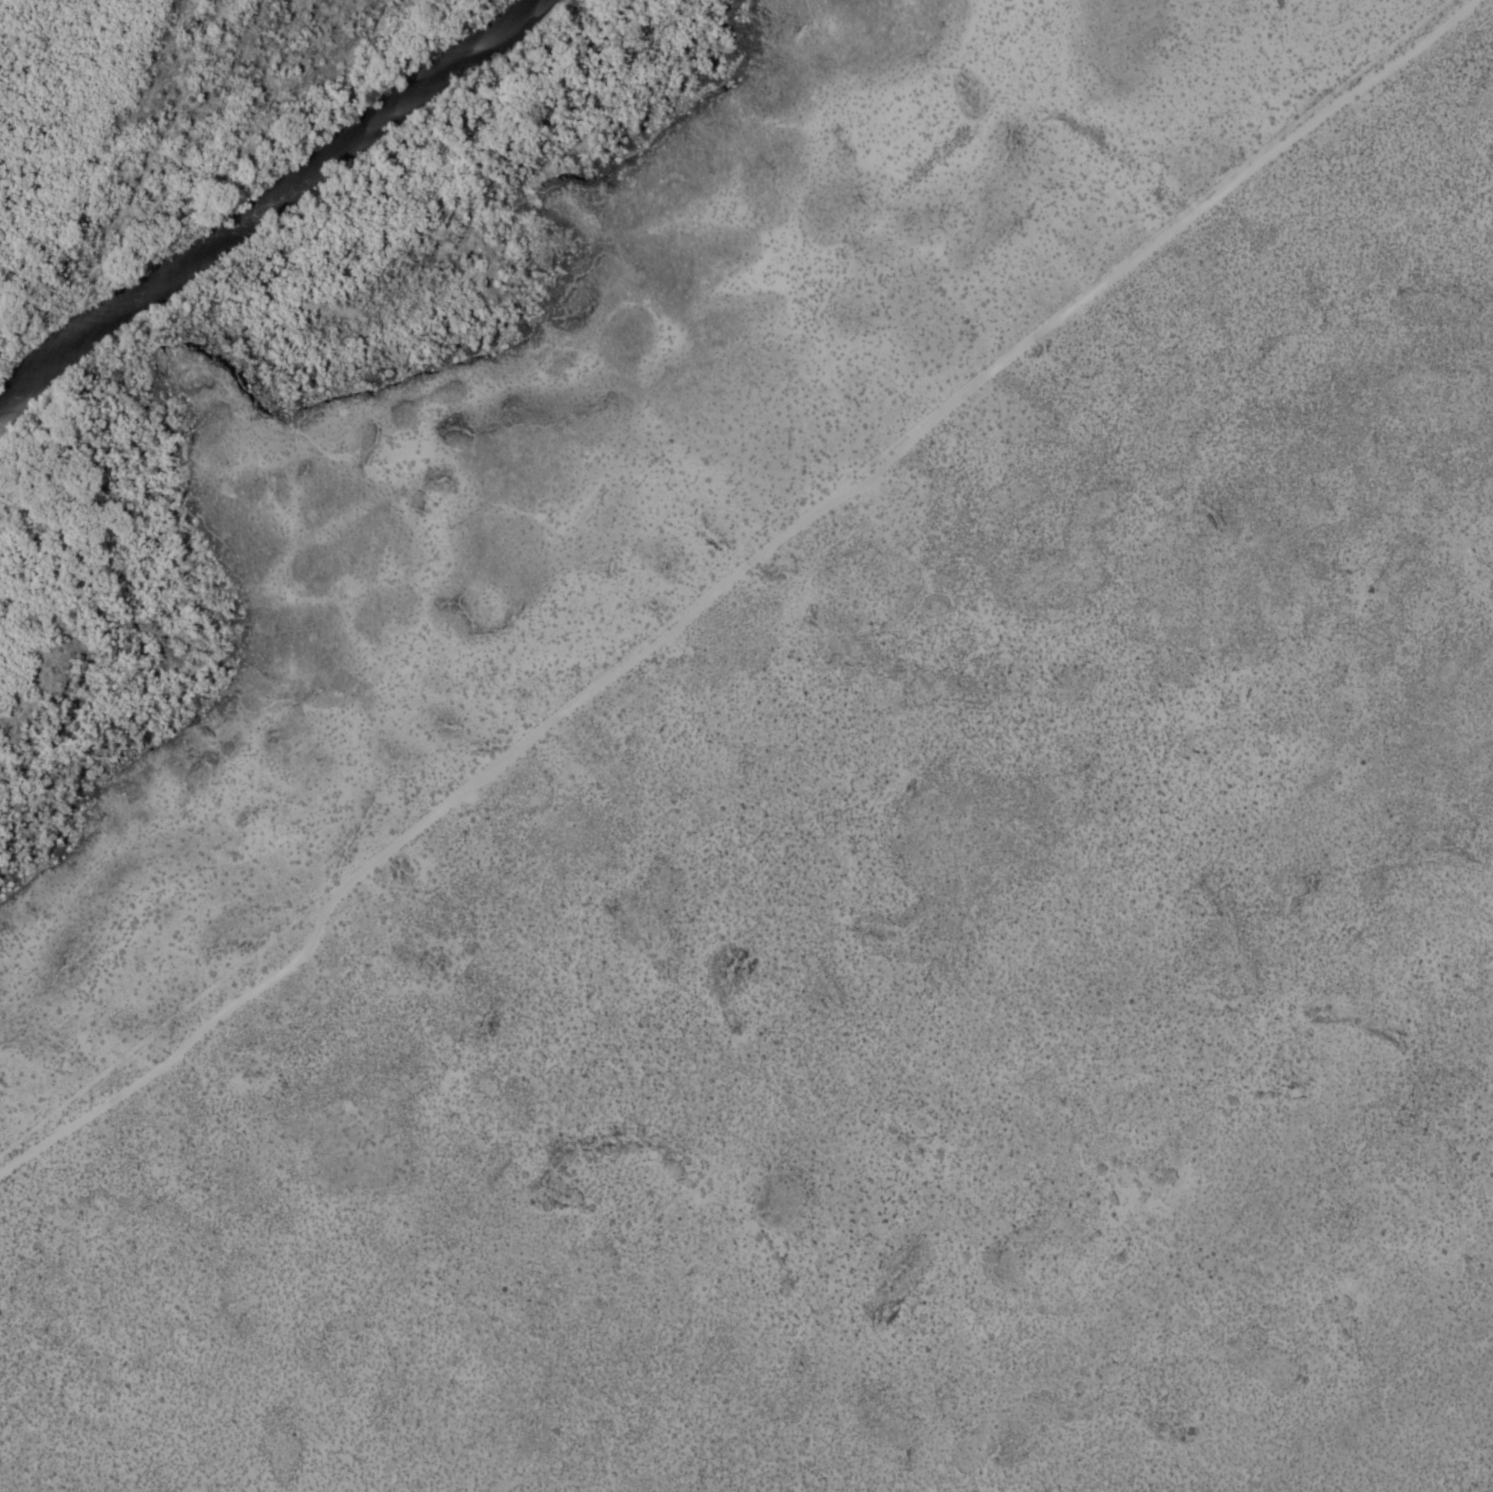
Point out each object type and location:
river: (265, 200)

